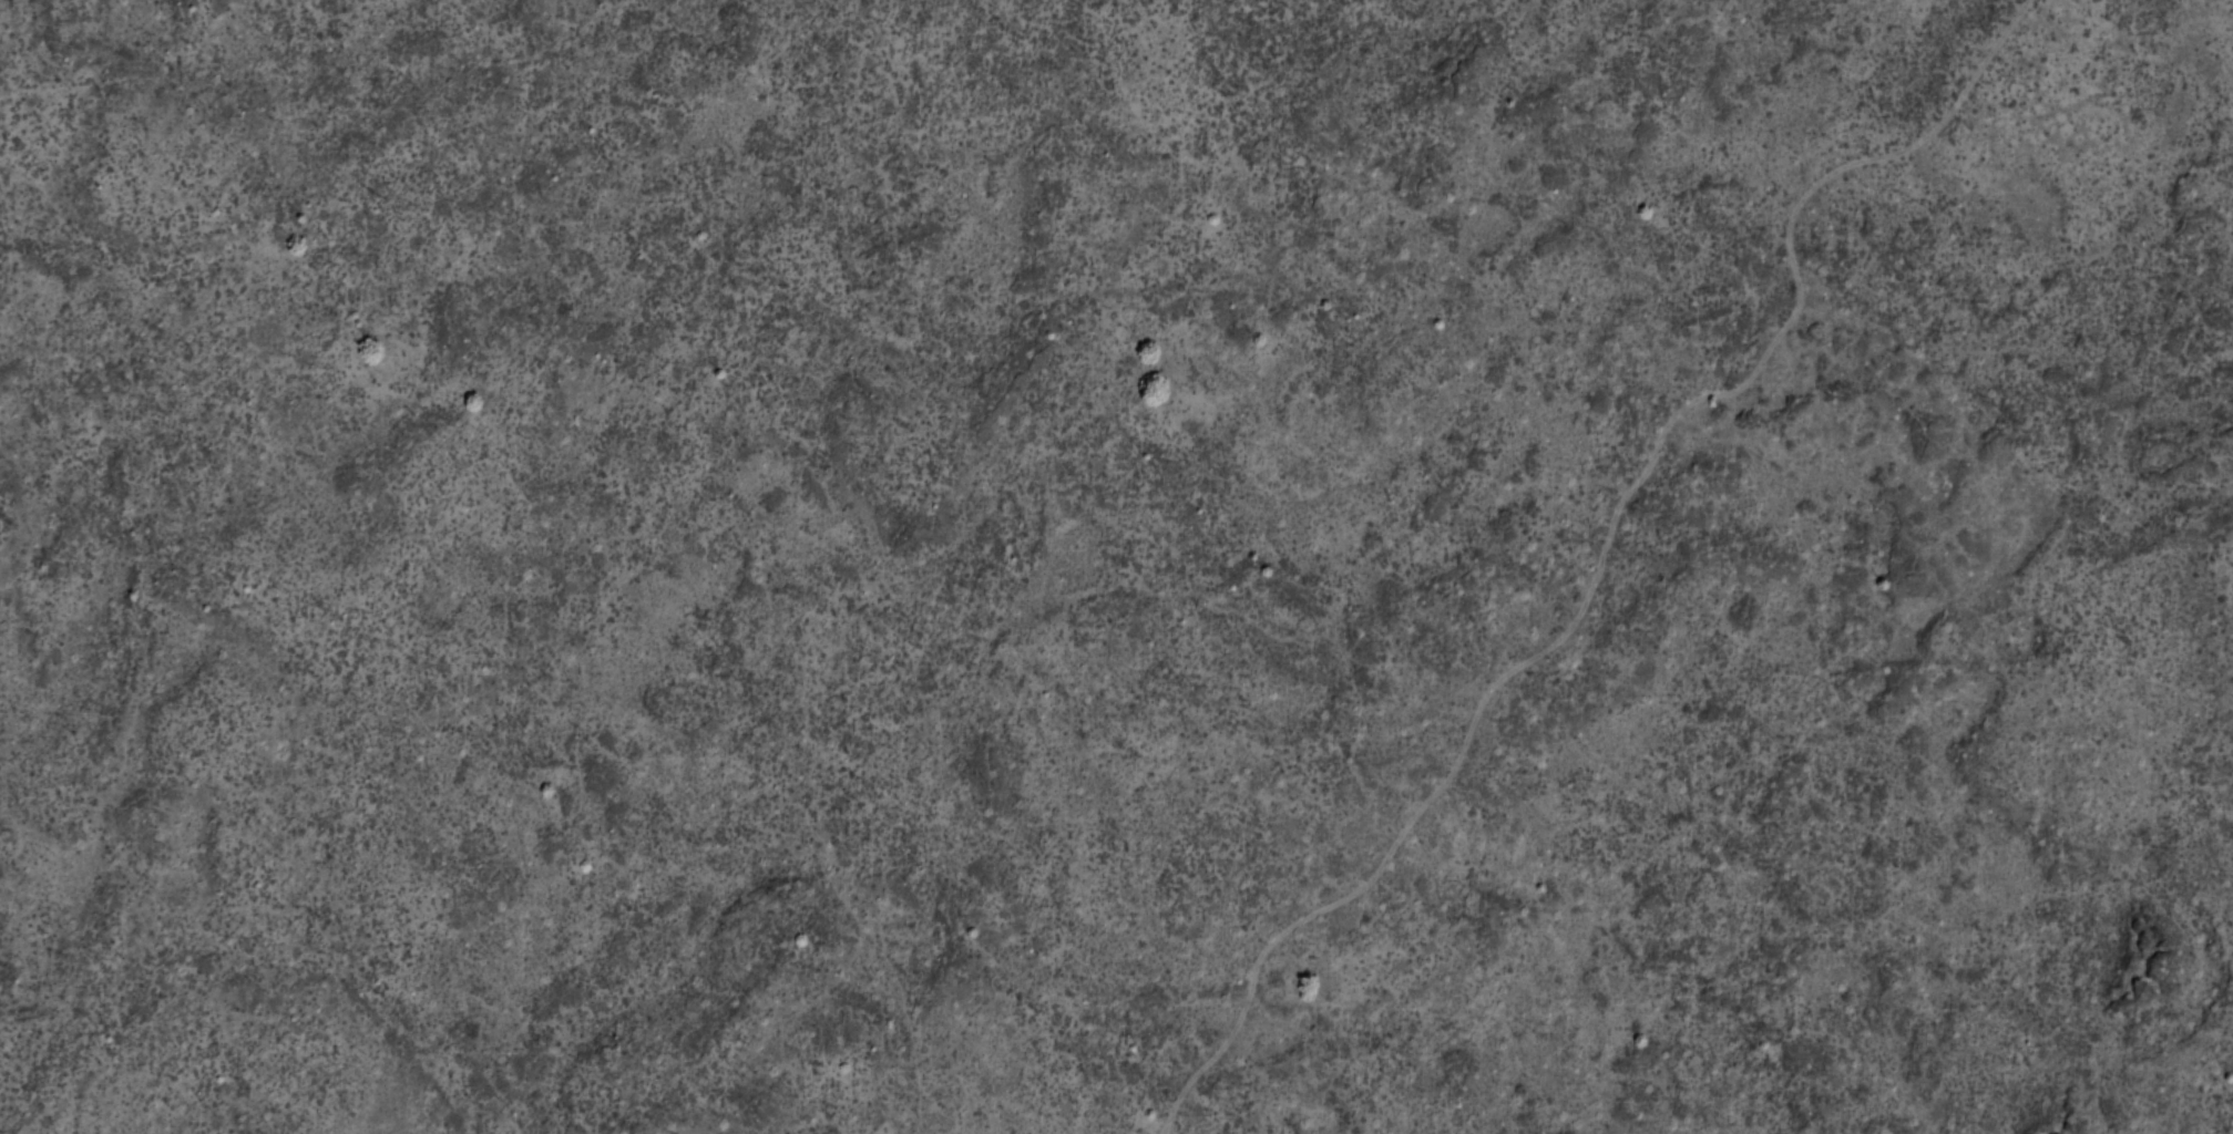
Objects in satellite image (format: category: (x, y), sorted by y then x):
road: (1611, 556)

